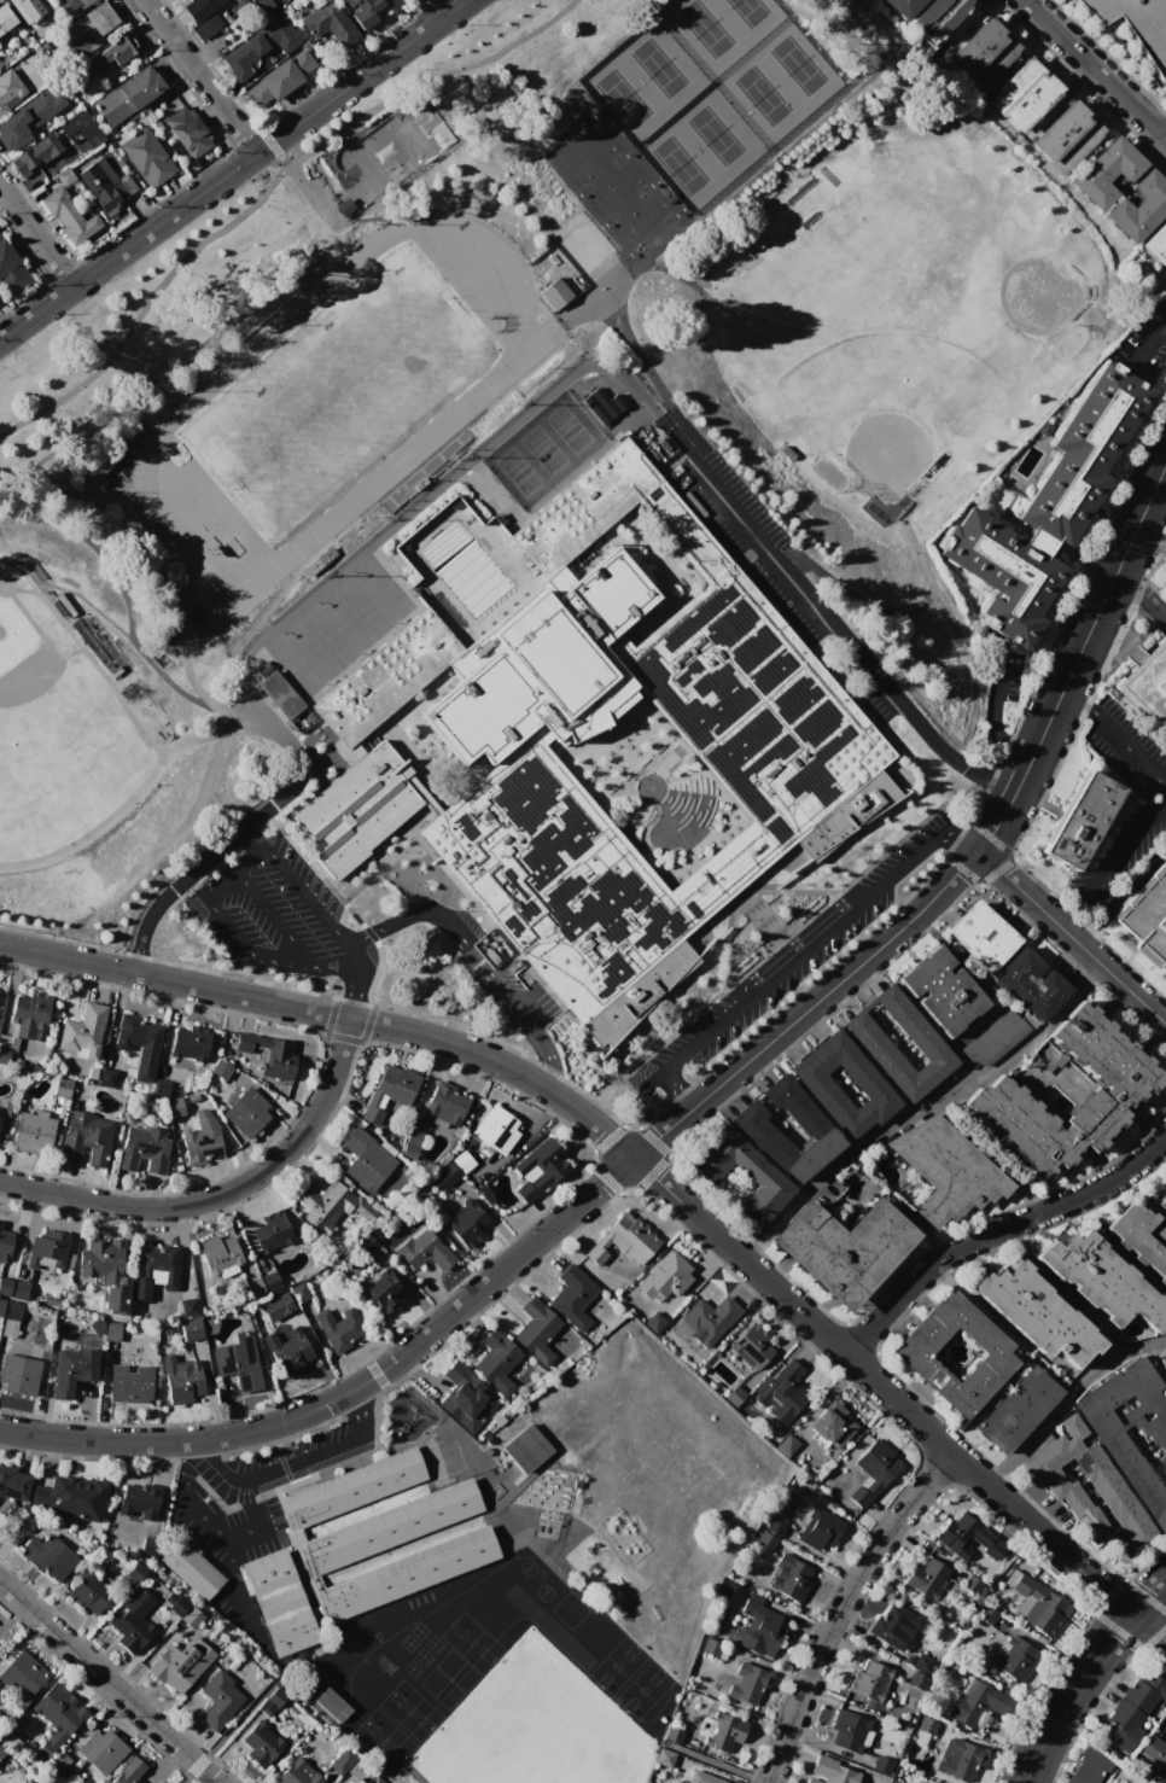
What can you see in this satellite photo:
building: (81, 2)
building: (252, 5)
building: (902, 6)
building: (198, 7)
building: (27, 8)
building: (367, 10)
road: (428, 10)
park: (748, 11)
building: (5, 18)
building: (937, 18)
road: (969, 18)
building: (206, 25)
building: (1137, 25)
building: (327, 27)
park: (705, 28)
building: (87, 29)
building: (260, 45)
building: (981, 54)
building: (107, 58)
park: (798, 65)
park: (658, 68)
road: (1095, 69)
road: (198, 76)
building: (280, 77)
building: (8, 88)
building: (127, 94)
park: (762, 94)
building: (1021, 94)
park: (623, 98)
building: (31, 117)
building: (186, 130)
road: (1162, 130)
building: (80, 132)
park: (715, 135)
building: (1065, 136)
park: (385, 150)
building: (35, 153)
building: (146, 157)
park: (680, 165)
road: (232, 169)
building: (1106, 171)
building: (95, 173)
building: (64, 176)
road: (266, 187)
building: (1138, 208)
building: (68, 217)
park: (264, 229)
road: (35, 238)
building: (1155, 243)
building: (12, 273)
building: (555, 295)
park: (892, 297)
park: (891, 310)
road: (1145, 338)
park: (339, 392)
building: (601, 404)
park: (447, 421)
park: (569, 429)
building: (659, 442)
park: (543, 450)
park: (518, 472)
building: (688, 478)
building: (715, 509)
building: (1045, 509)
road: (766, 540)
road: (314, 590)
road: (1142, 590)
park: (375, 598)
road: (1097, 611)
park: (339, 628)
park: (304, 658)
road: (995, 684)
building: (1149, 686)
building: (279, 694)
road: (1079, 699)
road: (919, 716)
park: (59, 735)
road: (1014, 740)
building: (785, 745)
road: (1130, 751)
road: (1004, 809)
road: (951, 818)
building: (1082, 820)
road: (250, 828)
road: (991, 837)
road: (964, 843)
road: (1118, 852)
road: (1014, 855)
road: (1015, 858)
road: (899, 863)
road: (1120, 893)
road: (307, 895)
road: (414, 911)
road: (1061, 911)
road: (272, 915)
building: (1147, 916)
road: (1091, 932)
road: (238, 934)
building: (980, 936)
road: (1072, 938)
road: (795, 951)
road: (356, 977)
building: (1030, 983)
road: (502, 990)
building: (940, 990)
road: (351, 1006)
building: (28, 1015)
road: (1165, 1024)
building: (998, 1027)
road: (403, 1030)
building: (80, 1031)
road: (700, 1033)
building: (134, 1036)
building: (926, 1042)
building: (188, 1043)
building: (2, 1055)
building: (264, 1055)
road: (553, 1057)
building: (220, 1068)
building: (106, 1077)
building: (397, 1085)
building: (818, 1086)
building: (60, 1088)
road: (677, 1089)
building: (999, 1090)
road: (914, 1102)
road: (643, 1103)
building: (445, 1106)
building: (175, 1108)
building: (0, 1109)
building: (247, 1113)
building: (372, 1113)
building: (496, 1130)
building: (756, 1130)
building: (33, 1131)
building: (86, 1138)
building: (410, 1144)
building: (200, 1146)
building: (144, 1148)
building: (462, 1161)
building: (366, 1163)
building: (946, 1170)
building: (541, 1173)
building: (762, 1175)
building: (444, 1176)
road: (600, 1183)
building: (1164, 1185)
road: (221, 1193)
building: (325, 1206)
building: (466, 1223)
building: (0, 1225)
road: (996, 1230)
building: (270, 1231)
building: (1142, 1237)
building: (623, 1241)
building: (368, 1245)
building: (5, 1246)
building: (841, 1248)
building: (48, 1251)
building: (424, 1252)
building: (220, 1254)
building: (100, 1259)
building: (155, 1270)
building: (665, 1276)
building: (270, 1281)
building: (1104, 1281)
building: (5, 1284)
building: (255, 1287)
building: (21, 1289)
road: (1065, 1289)
building: (298, 1290)
building: (379, 1290)
building: (572, 1295)
building: (117, 1297)
road: (792, 1305)
building: (1, 1306)
building: (188, 1306)
building: (276, 1307)
building: (12, 1311)
building: (1038, 1313)
building: (709, 1319)
building: (654, 1322)
building: (337, 1324)
building: (191, 1329)
building: (111, 1330)
building: (536, 1330)
building: (752, 1346)
building: (286, 1347)
building: (909, 1354)
building: (238, 1360)
building: (500, 1363)
building: (1164, 1364)
building: (72, 1371)
building: (18, 1374)
building: (181, 1379)
building: (130, 1383)
building: (782, 1392)
road: (211, 1394)
building: (734, 1395)
road: (355, 1397)
building: (466, 1397)
road: (1066, 1397)
building: (1019, 1410)
building: (832, 1423)
road: (91, 1439)
building: (1113, 1441)
building: (525, 1447)
road: (314, 1453)
road: (218, 1458)
road: (180, 1463)
building: (874, 1472)
building: (1102, 1480)
building: (12, 1484)
road: (987, 1485)
building: (71, 1496)
building: (138, 1501)
road: (258, 1520)
building: (774, 1527)
building: (818, 1529)
building: (958, 1534)
building: (765, 1542)
road: (233, 1543)
building: (147, 1545)
building: (360, 1549)
building: (992, 1550)
building: (48, 1555)
building: (190, 1567)
building: (135, 1572)
building: (789, 1578)
building: (928, 1578)
building: (970, 1586)
building: (88, 1591)
building: (1036, 1602)
road: (1148, 1602)
building: (177, 1604)
road: (840, 1607)
building: (987, 1615)
building: (192, 1618)
building: (133, 1621)
building: (756, 1627)
building: (894, 1627)
road: (1148, 1630)
building: (710, 1648)
building: (1015, 1657)
building: (921, 1663)
building: (179, 1665)
building: (24, 1676)
building: (915, 1680)
road: (107, 1682)
building: (750, 1682)
building: (869, 1682)
road: (1068, 1694)
building: (220, 1701)
building: (270, 1702)
building: (969, 1702)
building: (330, 1703)
building: (1133, 1709)
building: (54, 1714)
park: (535, 1727)
building: (847, 1730)
building: (723, 1731)
building: (925, 1732)
building: (675, 1735)
building: (261, 1744)
building: (103, 1750)
building: (1155, 1752)
building: (1, 1754)
building: (665, 1758)
building: (958, 1759)
building: (60, 1761)
building: (343, 1761)
building: (881, 1764)
building: (1089, 1767)
building: (356, 1770)
building: (830, 1771)
building: (130, 1772)
building: (298, 1773)
building: (702, 1778)

